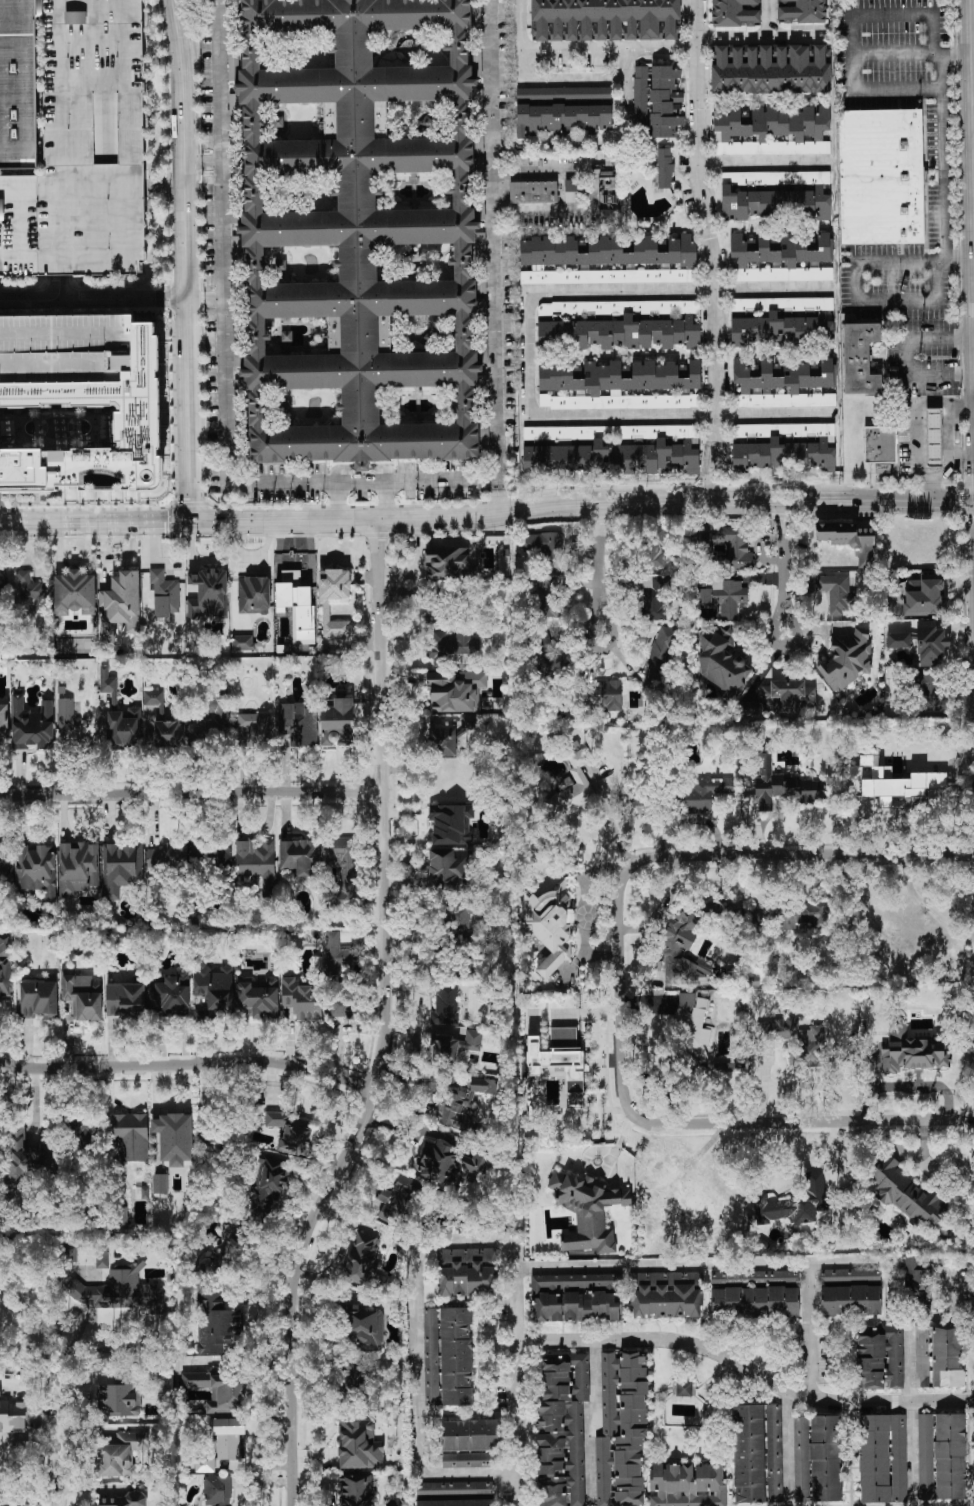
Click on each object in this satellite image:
road: (38, 2)
building: (38, 6)
building: (801, 11)
building: (736, 12)
road: (766, 18)
building: (605, 20)
road: (191, 30)
road: (850, 35)
road: (761, 37)
road: (584, 46)
road: (910, 54)
building: (233, 68)
building: (771, 69)
road: (556, 79)
building: (17, 85)
road: (627, 91)
building: (658, 99)
building: (563, 111)
road: (971, 119)
road: (973, 126)
building: (771, 131)
road: (56, 138)
building: (83, 149)
parking lot: (83, 149)
road: (943, 157)
road: (201, 162)
road: (762, 162)
building: (664, 168)
building: (881, 177)
building: (775, 178)
road: (121, 188)
building: (572, 191)
building: (533, 192)
road: (592, 192)
building: (774, 203)
building: (607, 218)
building: (360, 232)
road: (710, 250)
building: (780, 259)
road: (186, 260)
building: (608, 260)
road: (956, 261)
road: (493, 278)
road: (221, 284)
road: (59, 288)
road: (93, 299)
road: (205, 299)
road: (854, 300)
building: (620, 325)
building: (63, 346)
parking lot: (63, 346)
road: (526, 356)
road: (904, 356)
building: (860, 359)
building: (785, 384)
building: (619, 386)
building: (86, 426)
road: (915, 429)
building: (934, 437)
building: (880, 445)
building: (784, 446)
building: (615, 450)
road: (363, 482)
road: (498, 496)
road: (339, 501)
road: (387, 501)
road: (582, 501)
traffic signals: (192, 521)
road: (95, 522)
building: (849, 540)
building: (653, 548)
building: (546, 550)
road: (599, 556)
building: (449, 564)
road: (783, 572)
building: (287, 576)
building: (2, 584)
building: (656, 592)
building: (31, 593)
building: (74, 593)
building: (836, 593)
building: (164, 594)
building: (207, 595)
building: (253, 595)
building: (725, 596)
building: (924, 598)
building: (324, 601)
building: (121, 604)
building: (298, 607)
building: (898, 640)
building: (242, 643)
building: (930, 644)
building: (451, 648)
road: (600, 648)
building: (661, 653)
building: (847, 660)
building: (722, 662)
building: (456, 690)
building: (931, 692)
building: (609, 695)
building: (787, 695)
building: (153, 697)
building: (118, 717)
building: (213, 718)
building: (3, 722)
building: (337, 723)
building: (470, 723)
building: (298, 724)
building: (32, 725)
building: (73, 726)
building: (253, 730)
building: (150, 732)
building: (169, 734)
building: (442, 741)
building: (894, 780)
building: (784, 785)
building: (575, 787)
road: (190, 792)
building: (704, 793)
road: (609, 819)
building: (451, 823)
building: (176, 854)
building: (222, 854)
building: (300, 857)
building: (257, 863)
building: (121, 867)
building: (78, 868)
building: (450, 869)
building: (36, 870)
building: (343, 872)
building: (802, 914)
building: (458, 916)
building: (550, 927)
building: (672, 952)
building: (5, 966)
building: (338, 980)
road: (622, 990)
building: (214, 992)
building: (83, 997)
building: (259, 998)
building: (39, 1000)
building: (125, 1000)
building: (302, 1000)
building: (446, 1005)
road: (387, 1021)
building: (695, 1025)
building: (558, 1034)
building: (797, 1041)
building: (454, 1046)
building: (911, 1052)
road: (214, 1065)
building: (558, 1066)
road: (23, 1069)
building: (87, 1124)
building: (291, 1133)
building: (130, 1136)
building: (175, 1138)
building: (21, 1160)
building: (450, 1167)
road: (797, 1168)
building: (160, 1184)
building: (267, 1191)
building: (142, 1193)
building: (907, 1194)
building: (397, 1199)
building: (794, 1202)
building: (587, 1211)
building: (709, 1213)
road: (428, 1243)
building: (230, 1247)
building: (101, 1256)
building: (363, 1259)
road: (842, 1261)
building: (467, 1272)
building: (850, 1274)
building: (754, 1277)
building: (917, 1281)
road: (952, 1285)
building: (124, 1290)
building: (666, 1295)
building: (576, 1297)
building: (755, 1301)
building: (851, 1301)
building: (217, 1324)
building: (364, 1326)
road: (712, 1351)
building: (448, 1356)
building: (939, 1357)
building: (879, 1358)
building: (684, 1389)
building: (219, 1390)
building: (119, 1395)
road: (879, 1402)
road: (909, 1416)
building: (13, 1417)
road: (594, 1424)
building: (622, 1429)
building: (562, 1430)
road: (60, 1440)
building: (220, 1443)
building: (359, 1444)
building: (471, 1444)
building: (757, 1453)
building: (121, 1454)
building: (942, 1456)
building: (817, 1458)
building: (883, 1459)
building: (688, 1485)
building: (454, 1488)
building: (218, 1490)
building: (355, 1490)
road: (516, 1490)
building: (455, 1497)
building: (125, 1500)
building: (456, 1503)
building: (32, 1505)

